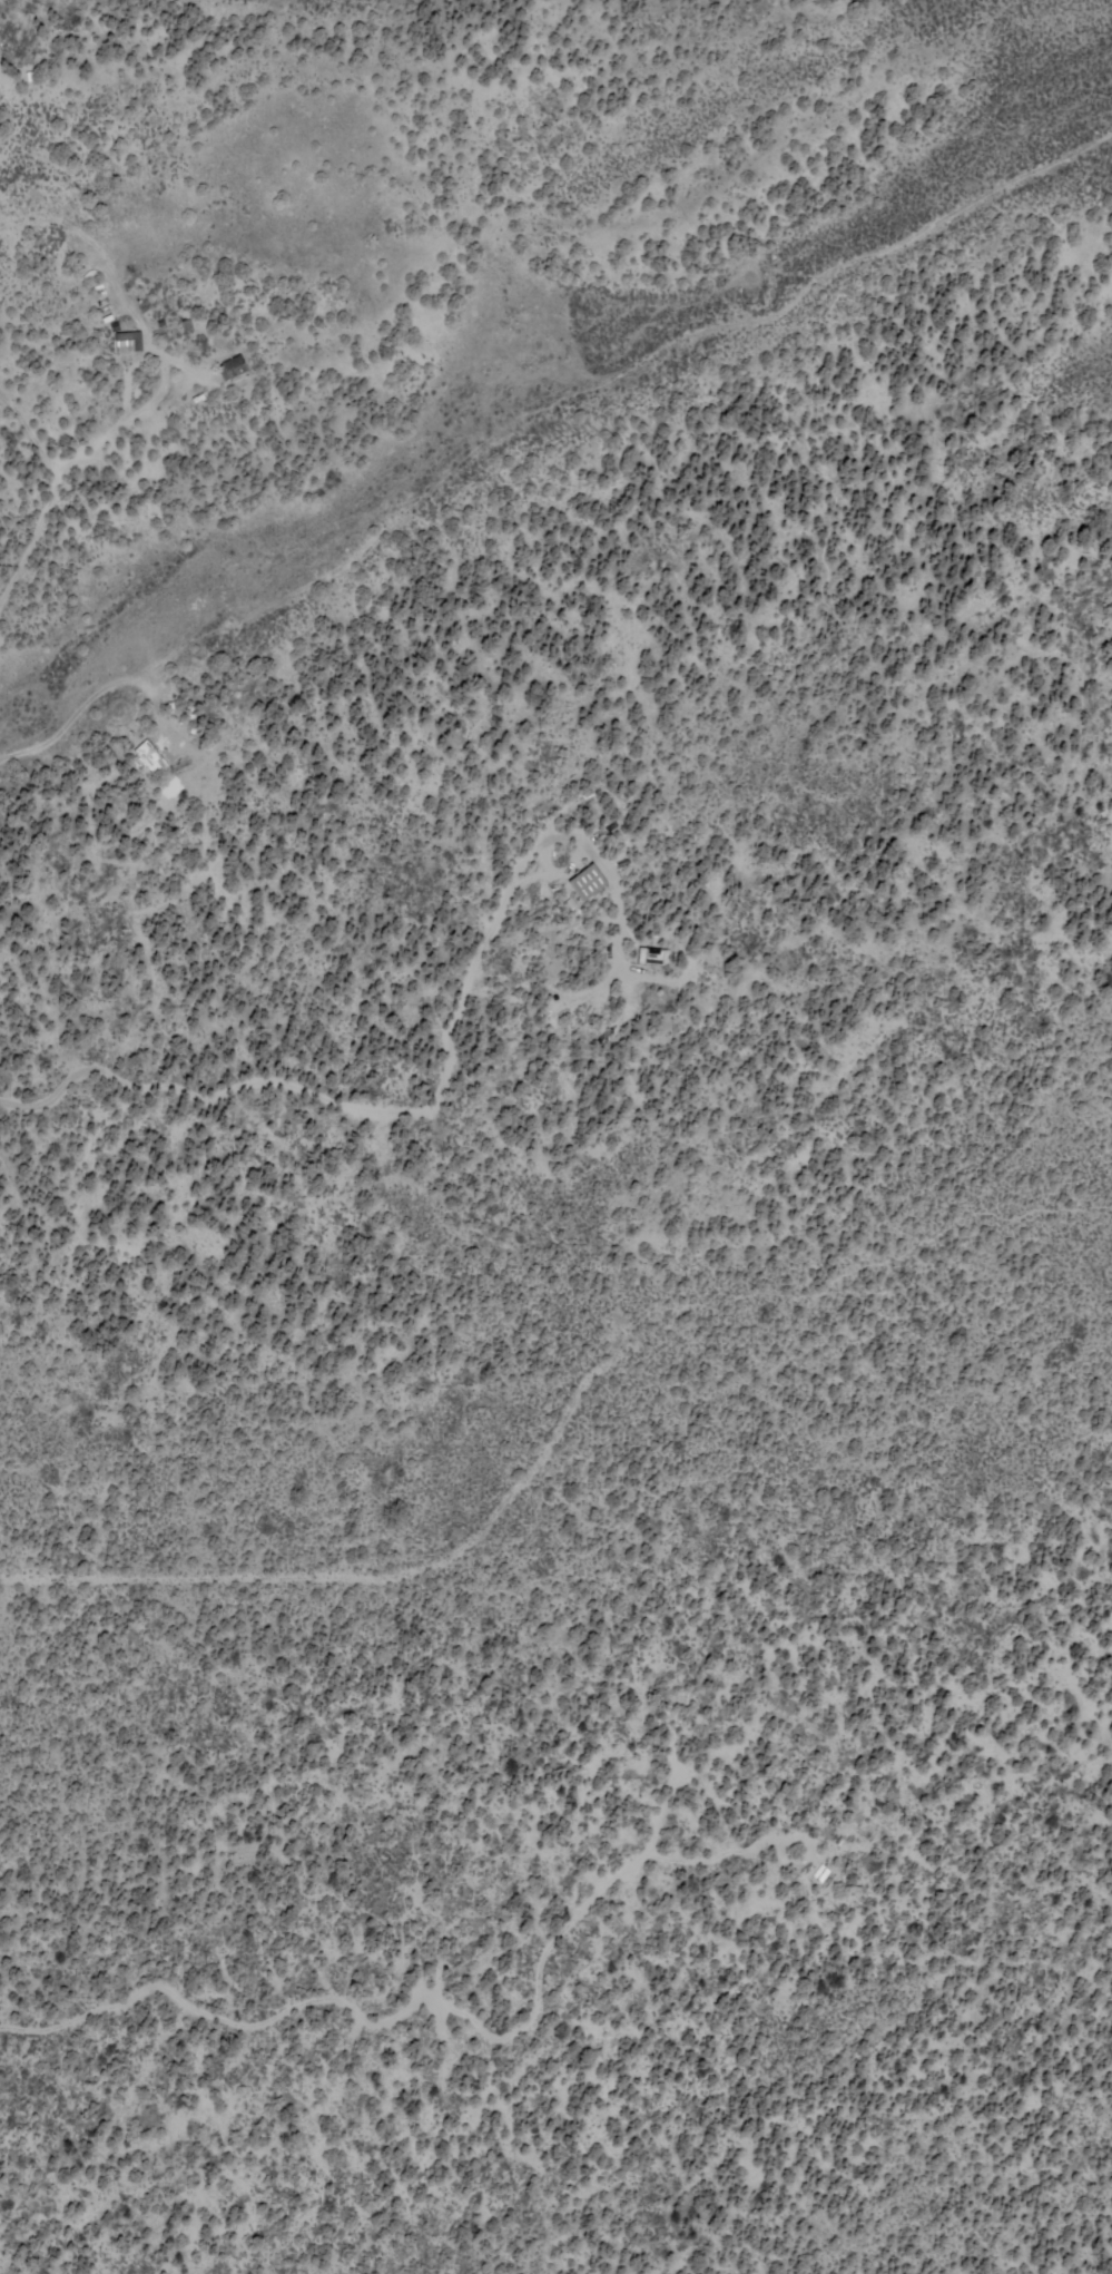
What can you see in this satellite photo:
building: (584, 881)

